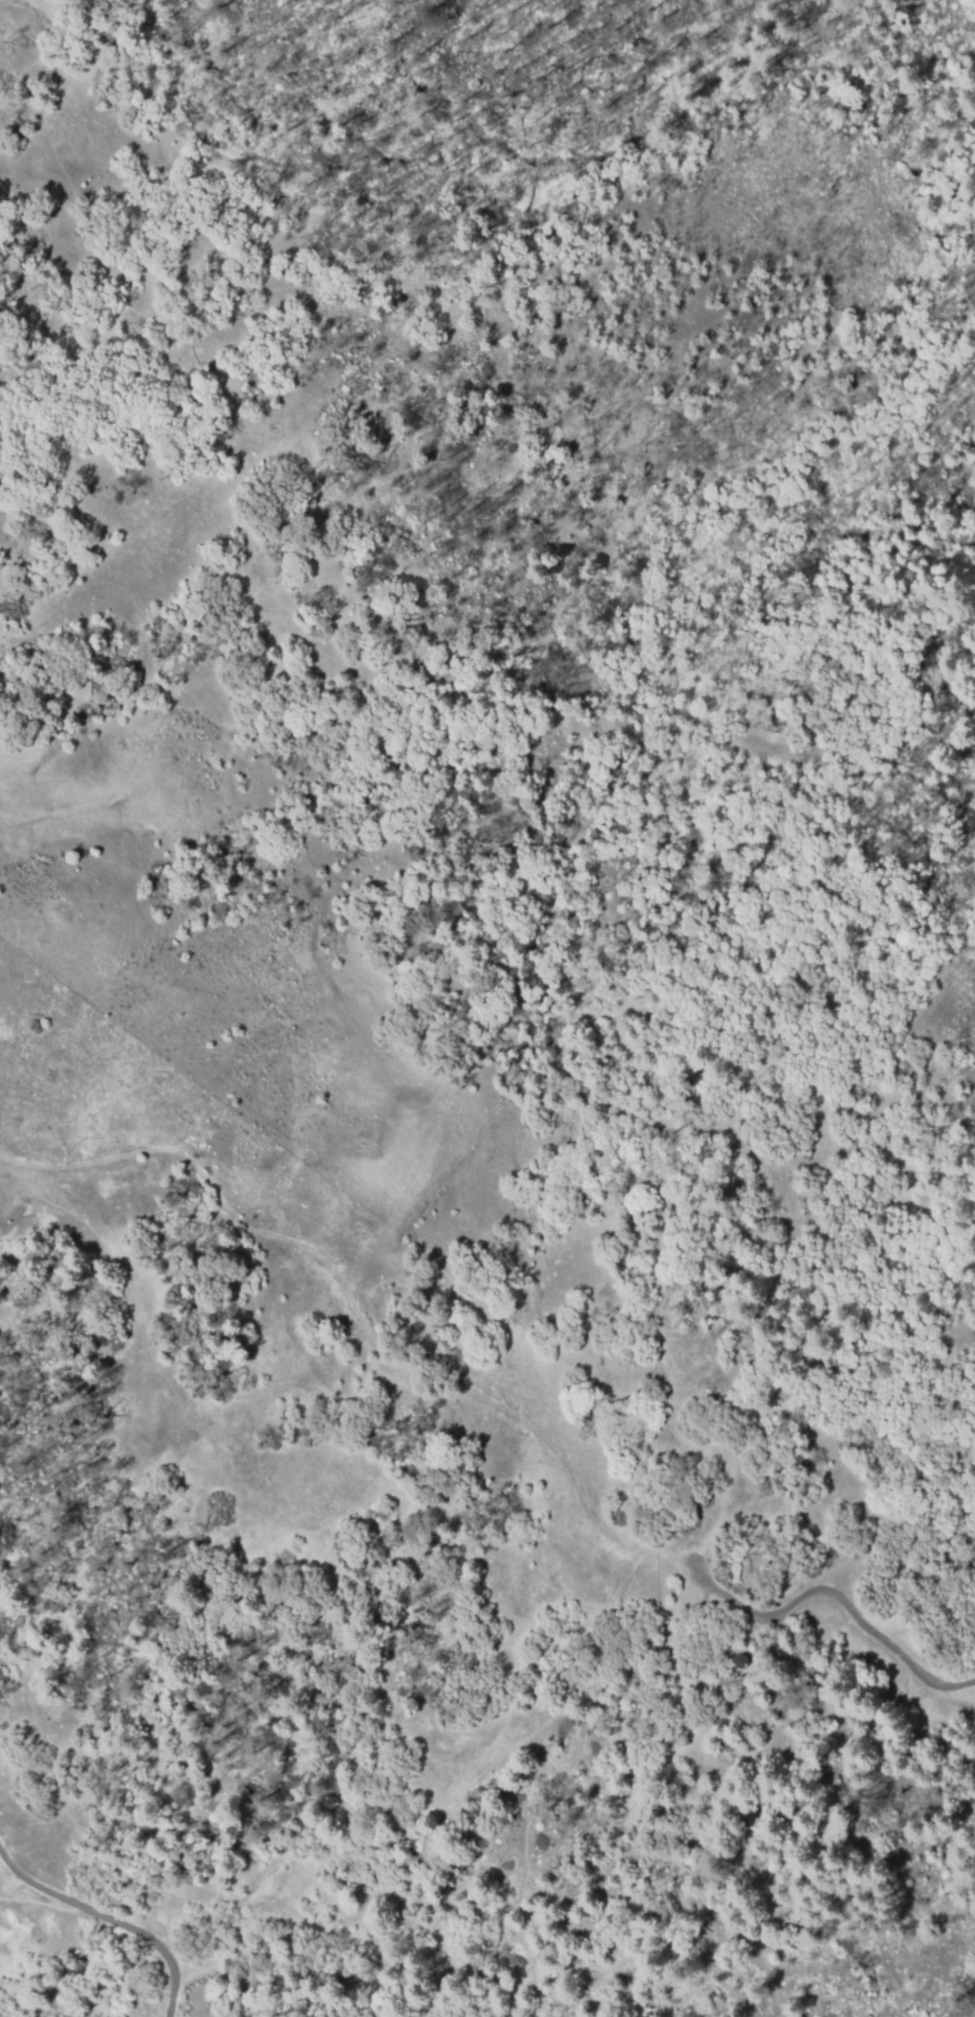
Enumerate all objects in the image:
road: (835, 1595)
building: (739, 1661)
road: (105, 1914)

